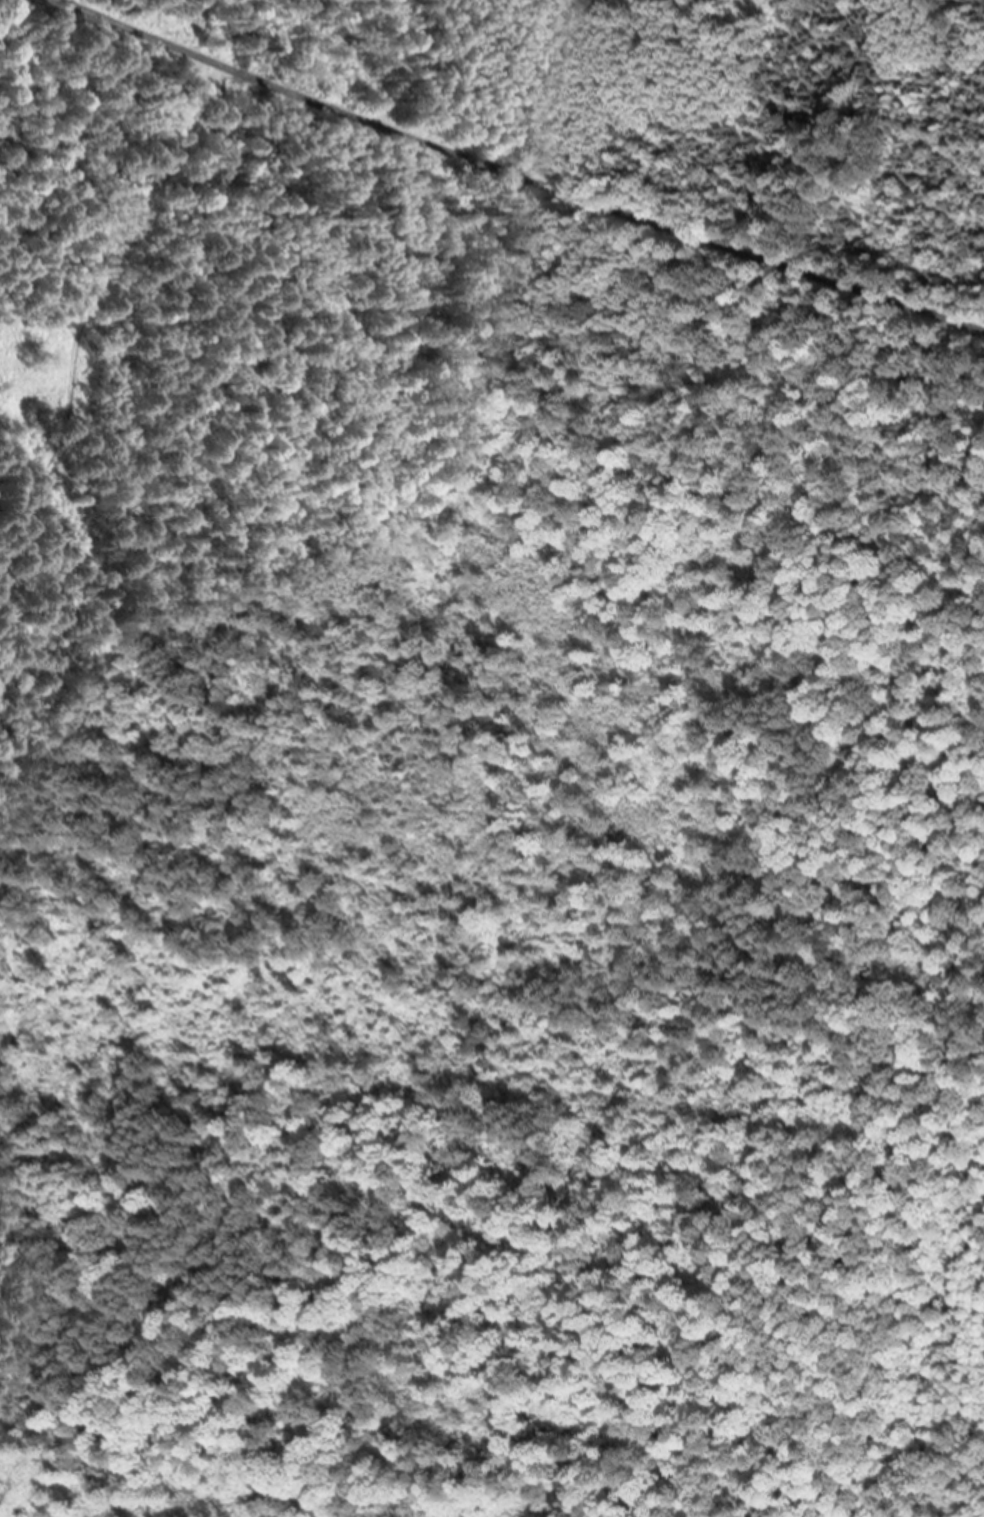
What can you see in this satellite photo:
road: (519, 176)
road: (78, 335)
road: (8, 860)

